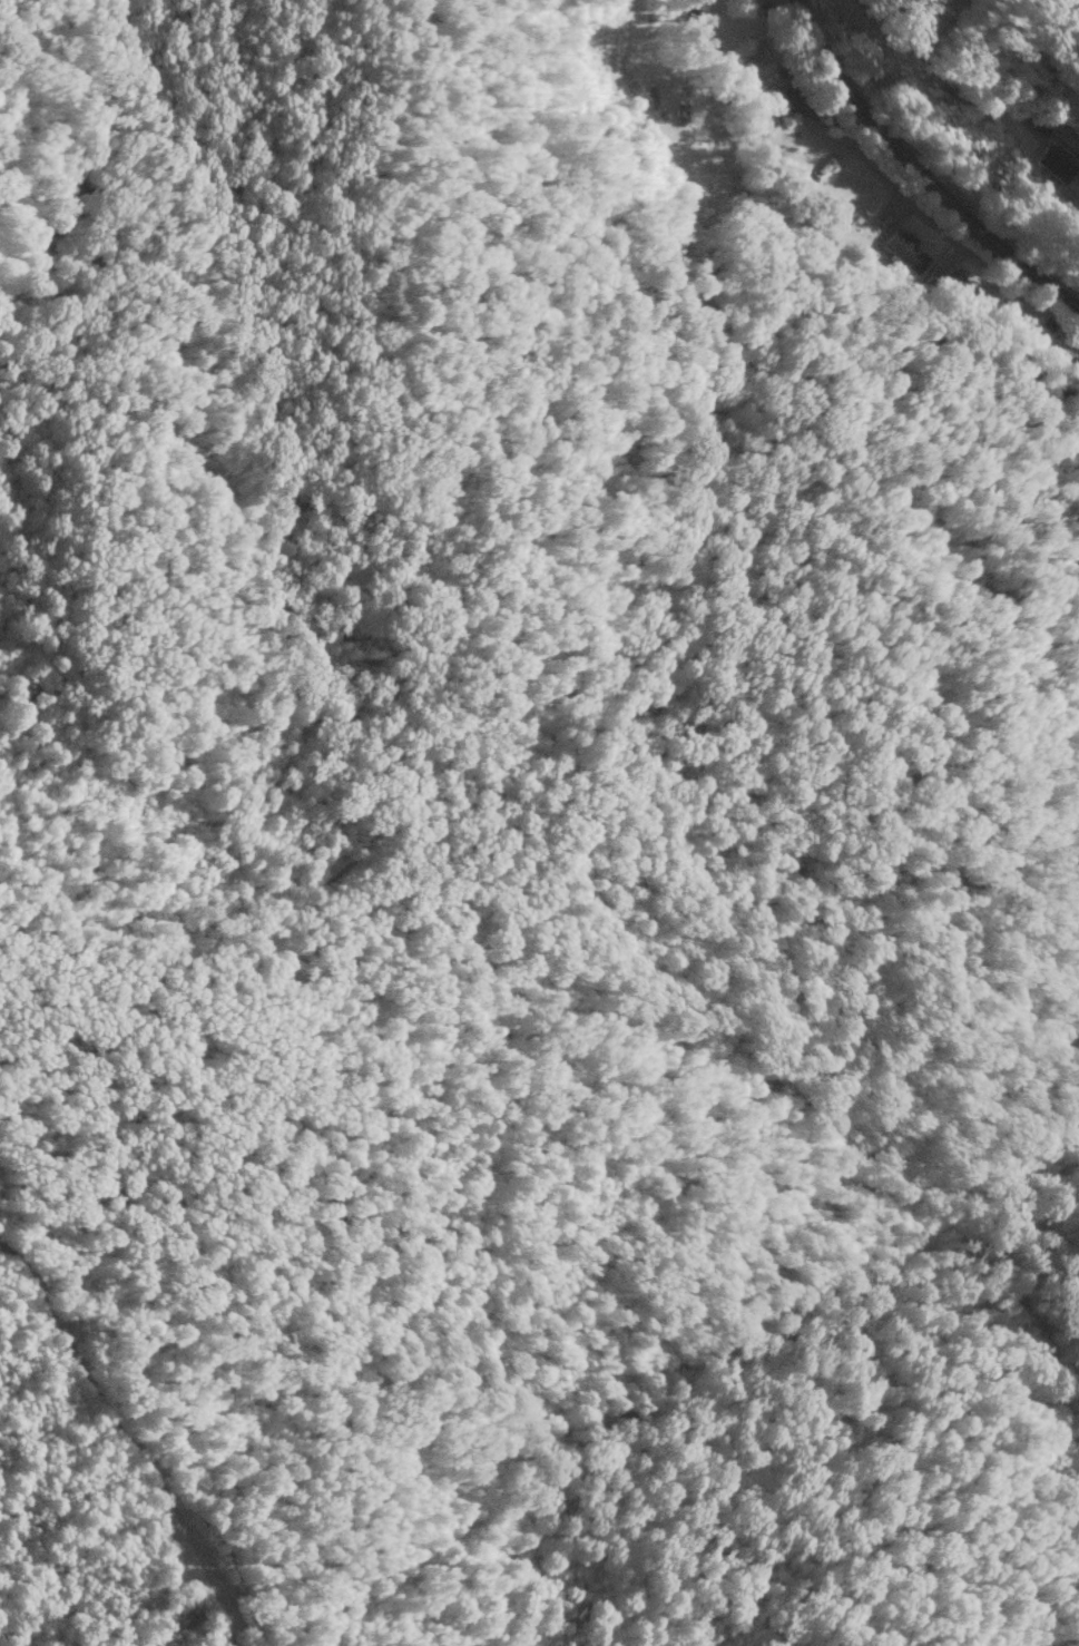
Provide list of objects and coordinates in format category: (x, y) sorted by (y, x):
road: (658, 11)
road: (828, 78)
building: (774, 100)
building: (1052, 164)
road: (918, 170)
road: (932, 205)
building: (902, 249)
building: (933, 280)
building: (963, 291)

